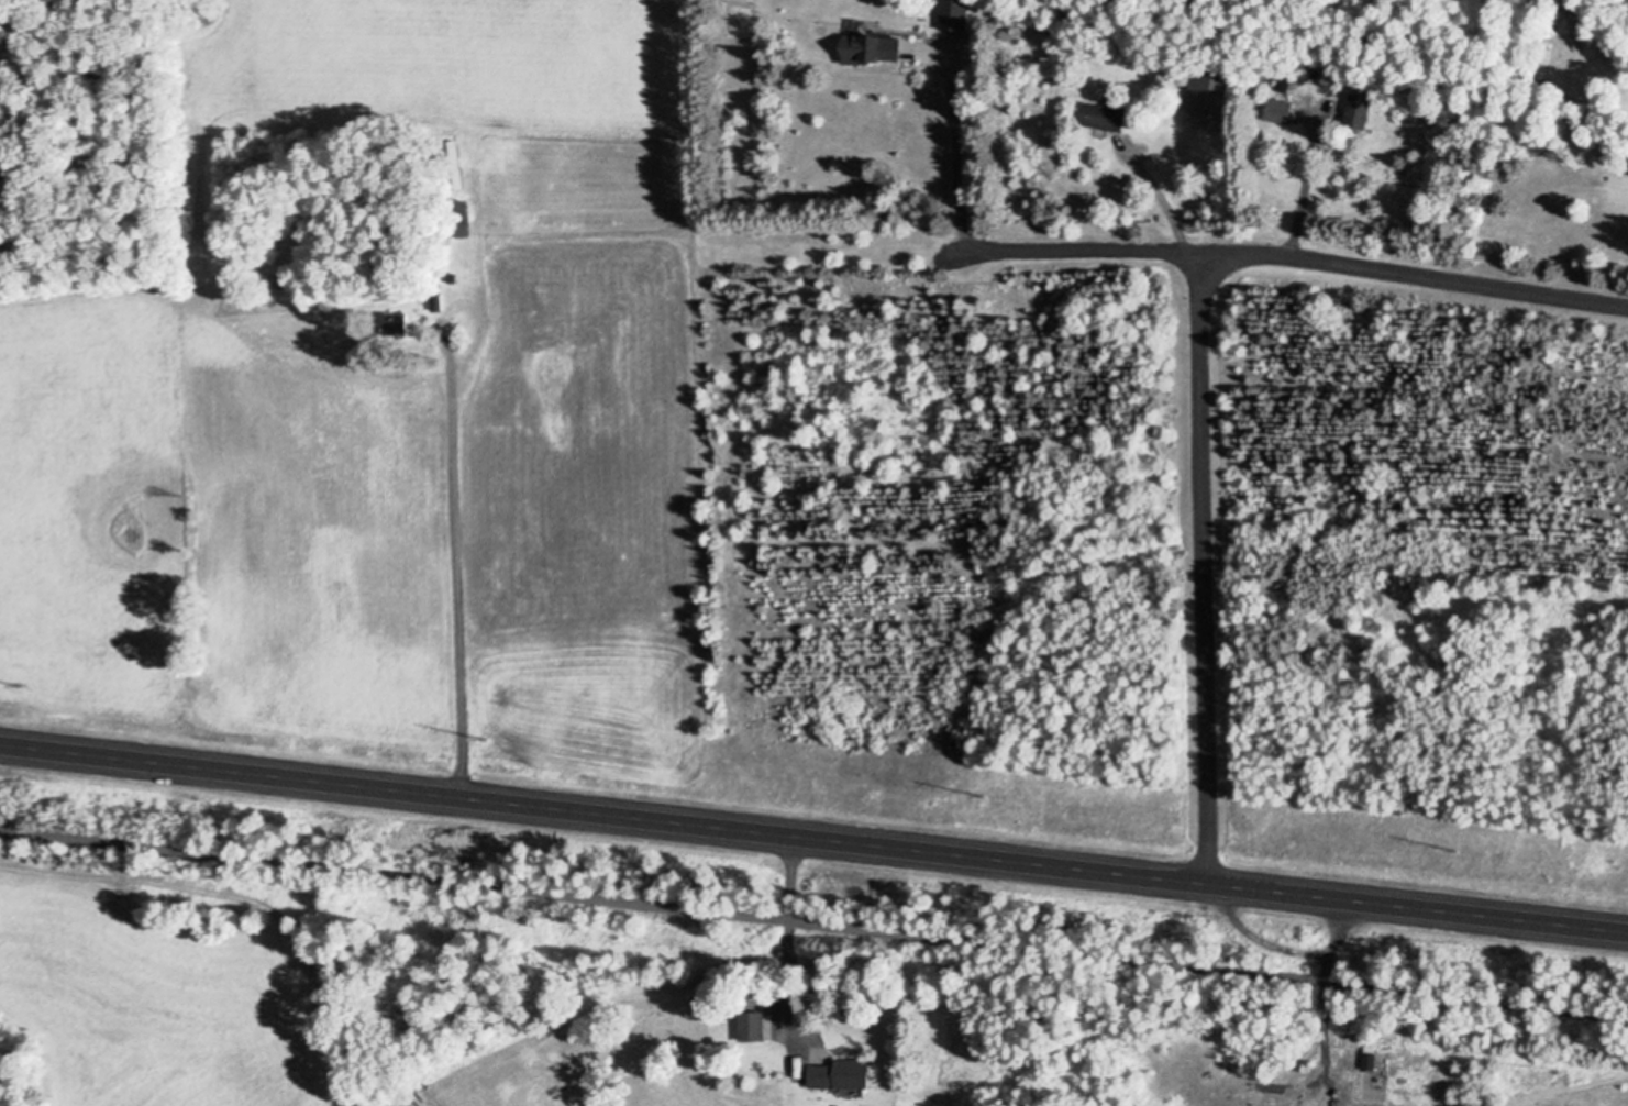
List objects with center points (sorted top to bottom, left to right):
building: (955, 13)
building: (877, 46)
building: (1209, 89)
building: (1281, 109)
building: (1360, 109)
building: (1107, 115)
road: (955, 159)
road: (1302, 187)
road: (1159, 197)
road: (1296, 254)
building: (405, 320)
road: (1201, 566)
road: (458, 588)
power tower: (18, 683)
power tower: (486, 736)
power tower: (978, 792)
road: (813, 837)
power tower: (1452, 844)
road: (813, 920)
road: (786, 926)
road: (1254, 936)
road: (1333, 937)
building: (754, 1025)
road: (1313, 1037)
building: (842, 1072)

